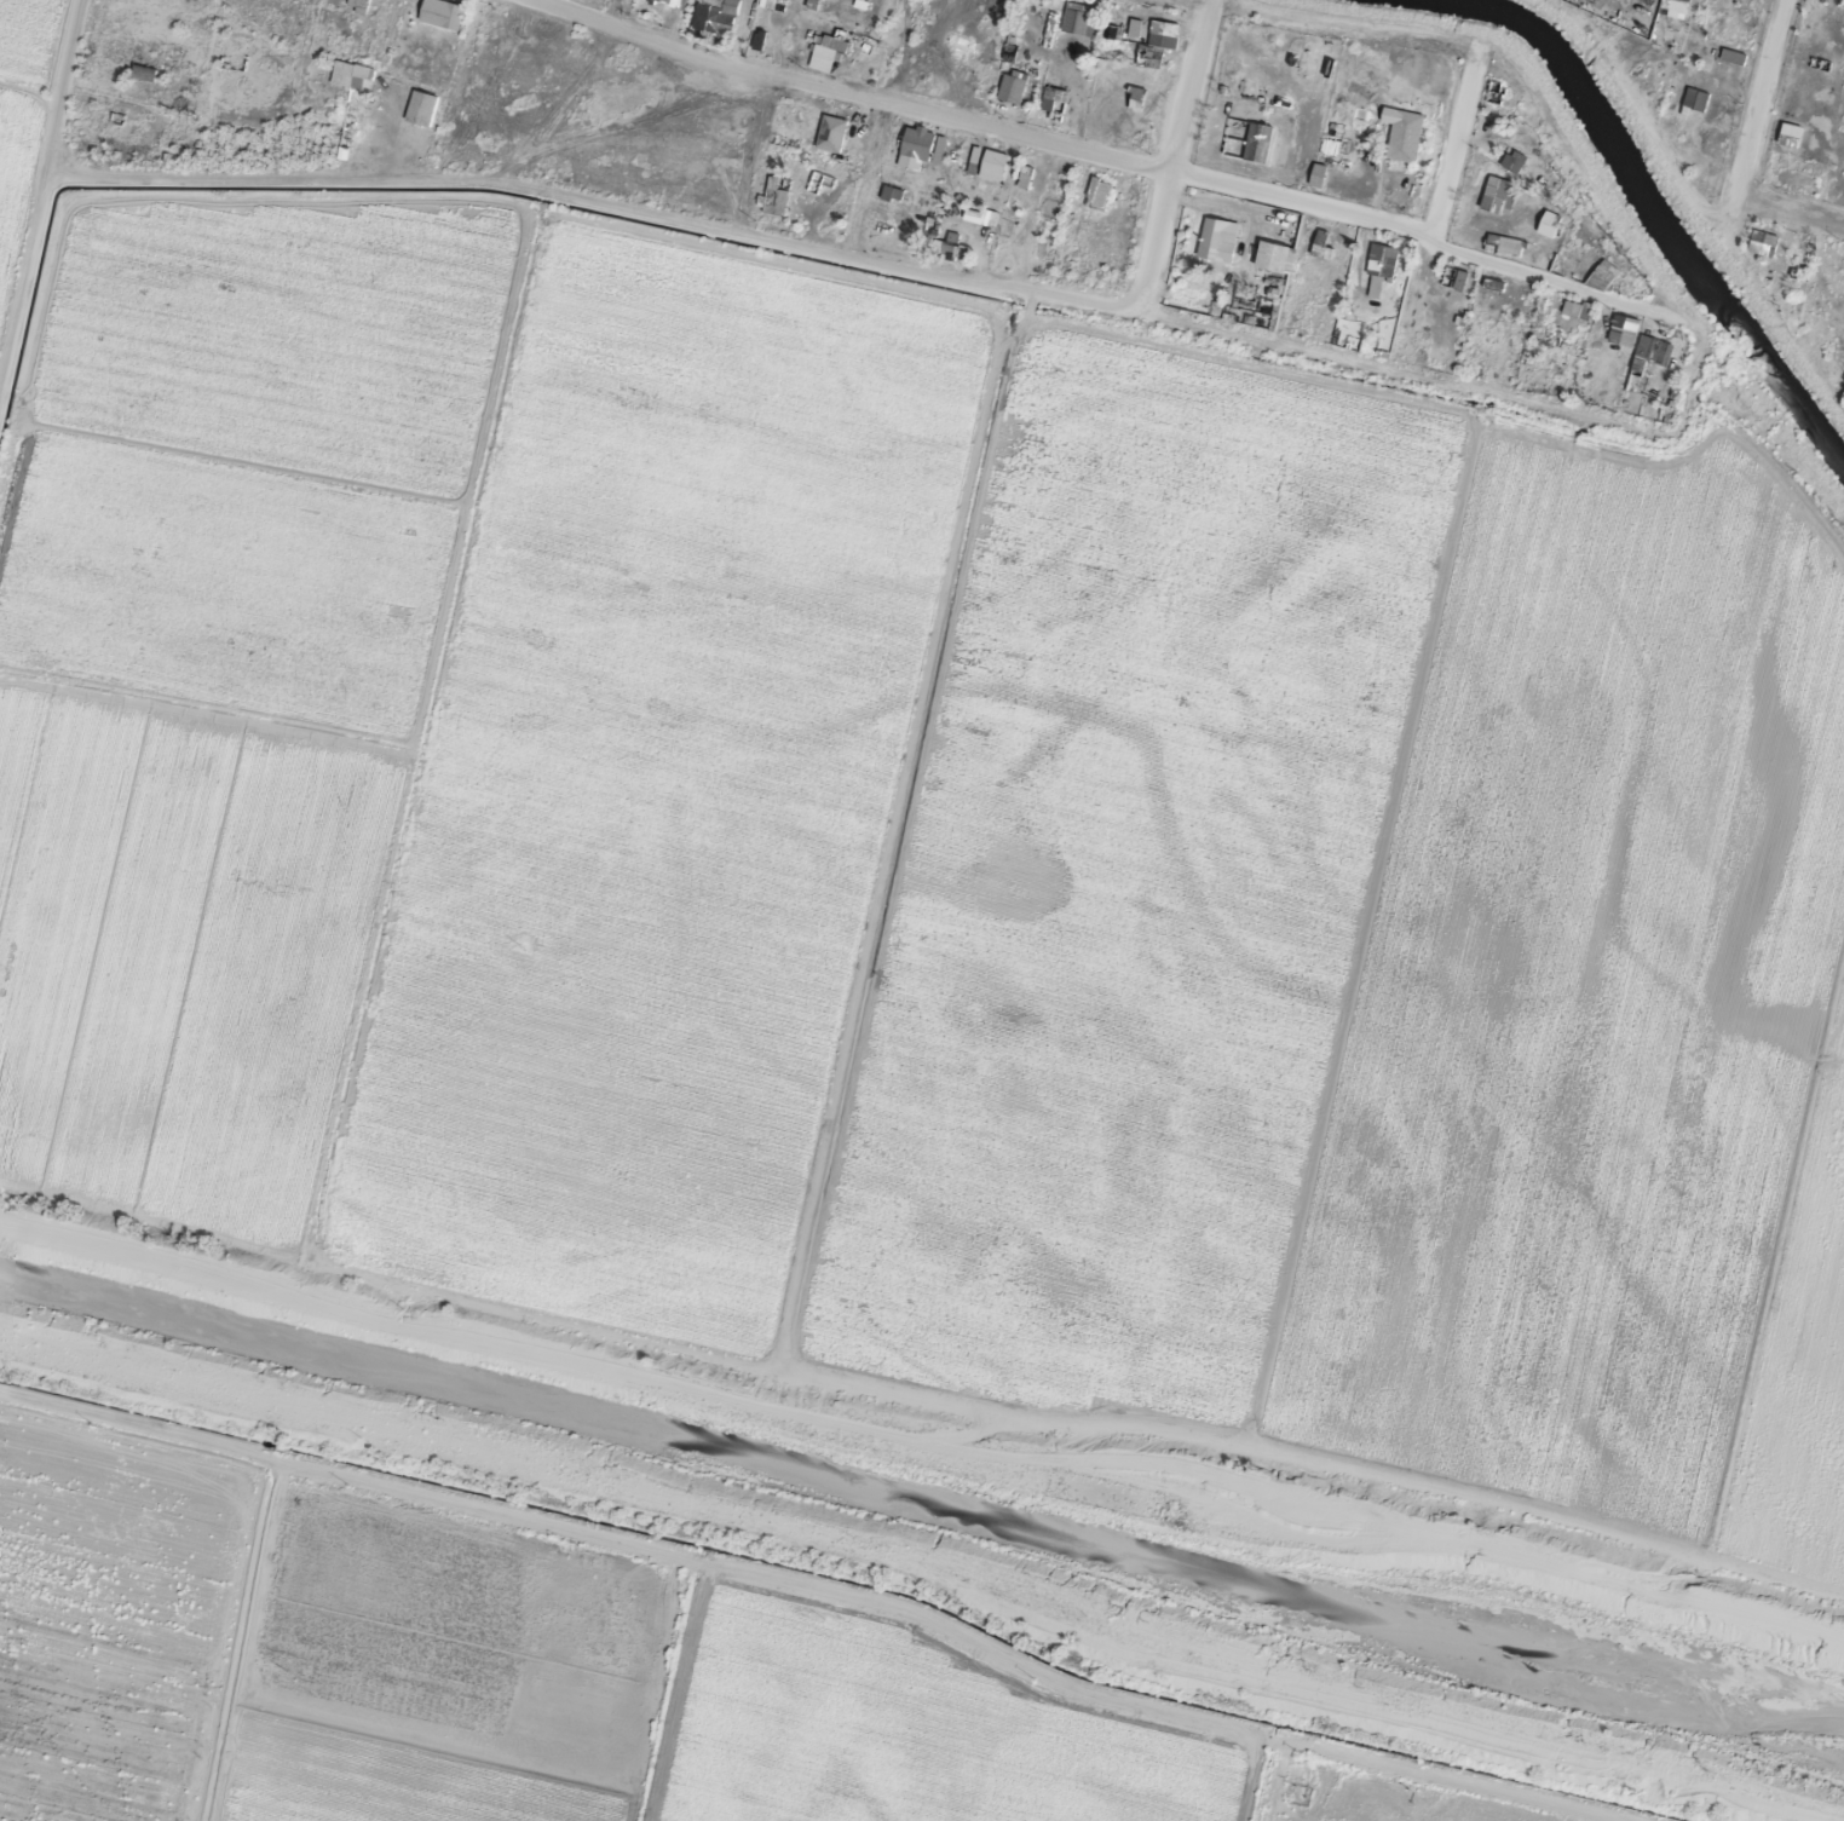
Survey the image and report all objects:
road: (1747, 102)

